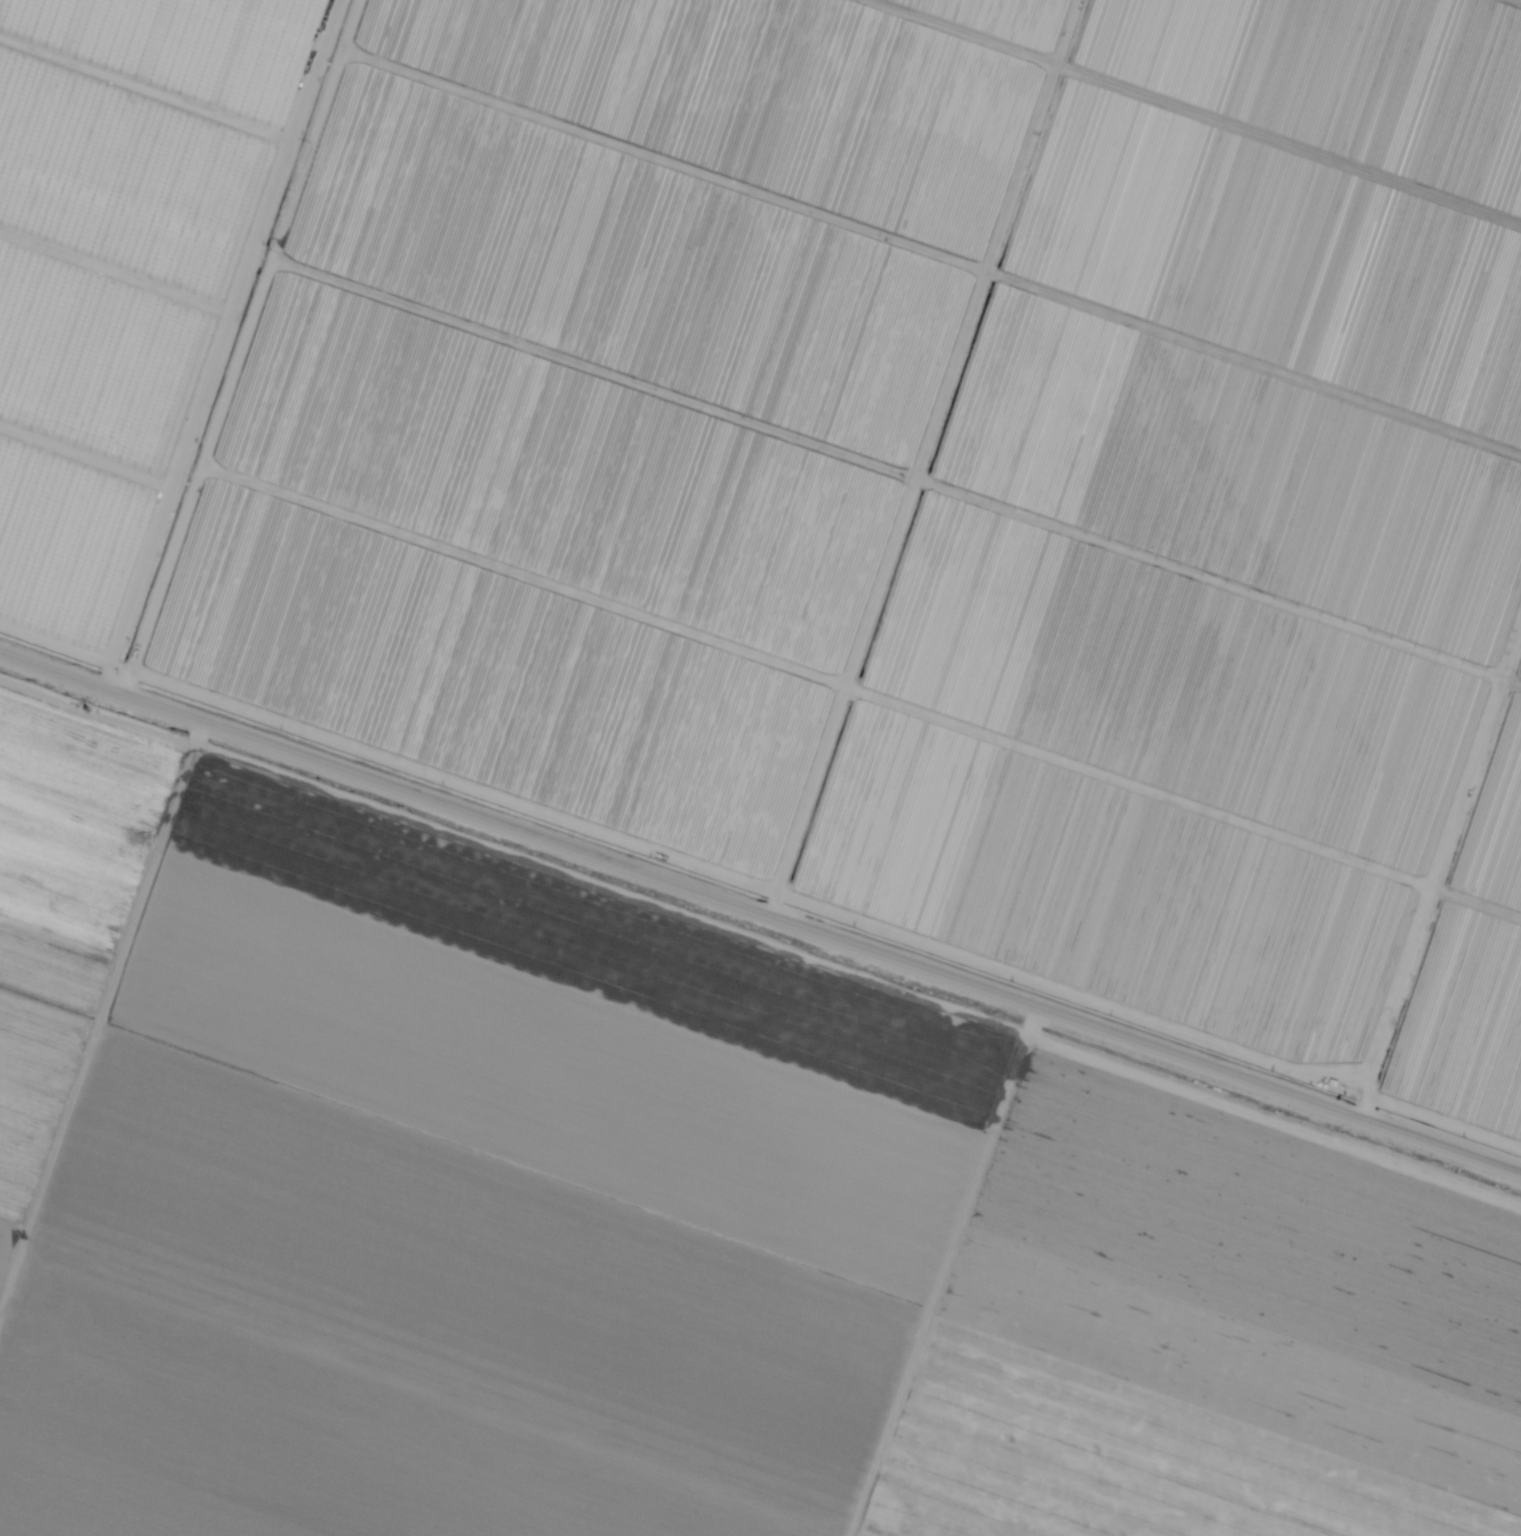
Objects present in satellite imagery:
crop: (1052, 6)
crop: (233, 25)
crop: (1360, 59)
crop: (844, 64)
crop: (664, 175)
crop: (1291, 199)
crop: (108, 288)
crop: (604, 344)
crop: (1262, 383)
crop: (546, 517)
crop: (1227, 558)
crop: (487, 694)
crop: (1167, 734)
crop: (1516, 735)
crop: (73, 830)
crop: (1495, 866)
crop: (1107, 906)
road: (760, 911)
crop: (560, 1014)
crop: (1466, 1042)
crop: (33, 1073)
crop: (4, 1249)
crop: (477, 1257)
crop: (1254, 1261)
crop: (295, 1434)
crop: (1138, 1452)
crop: (27, 1526)
crop: (862, 1535)

